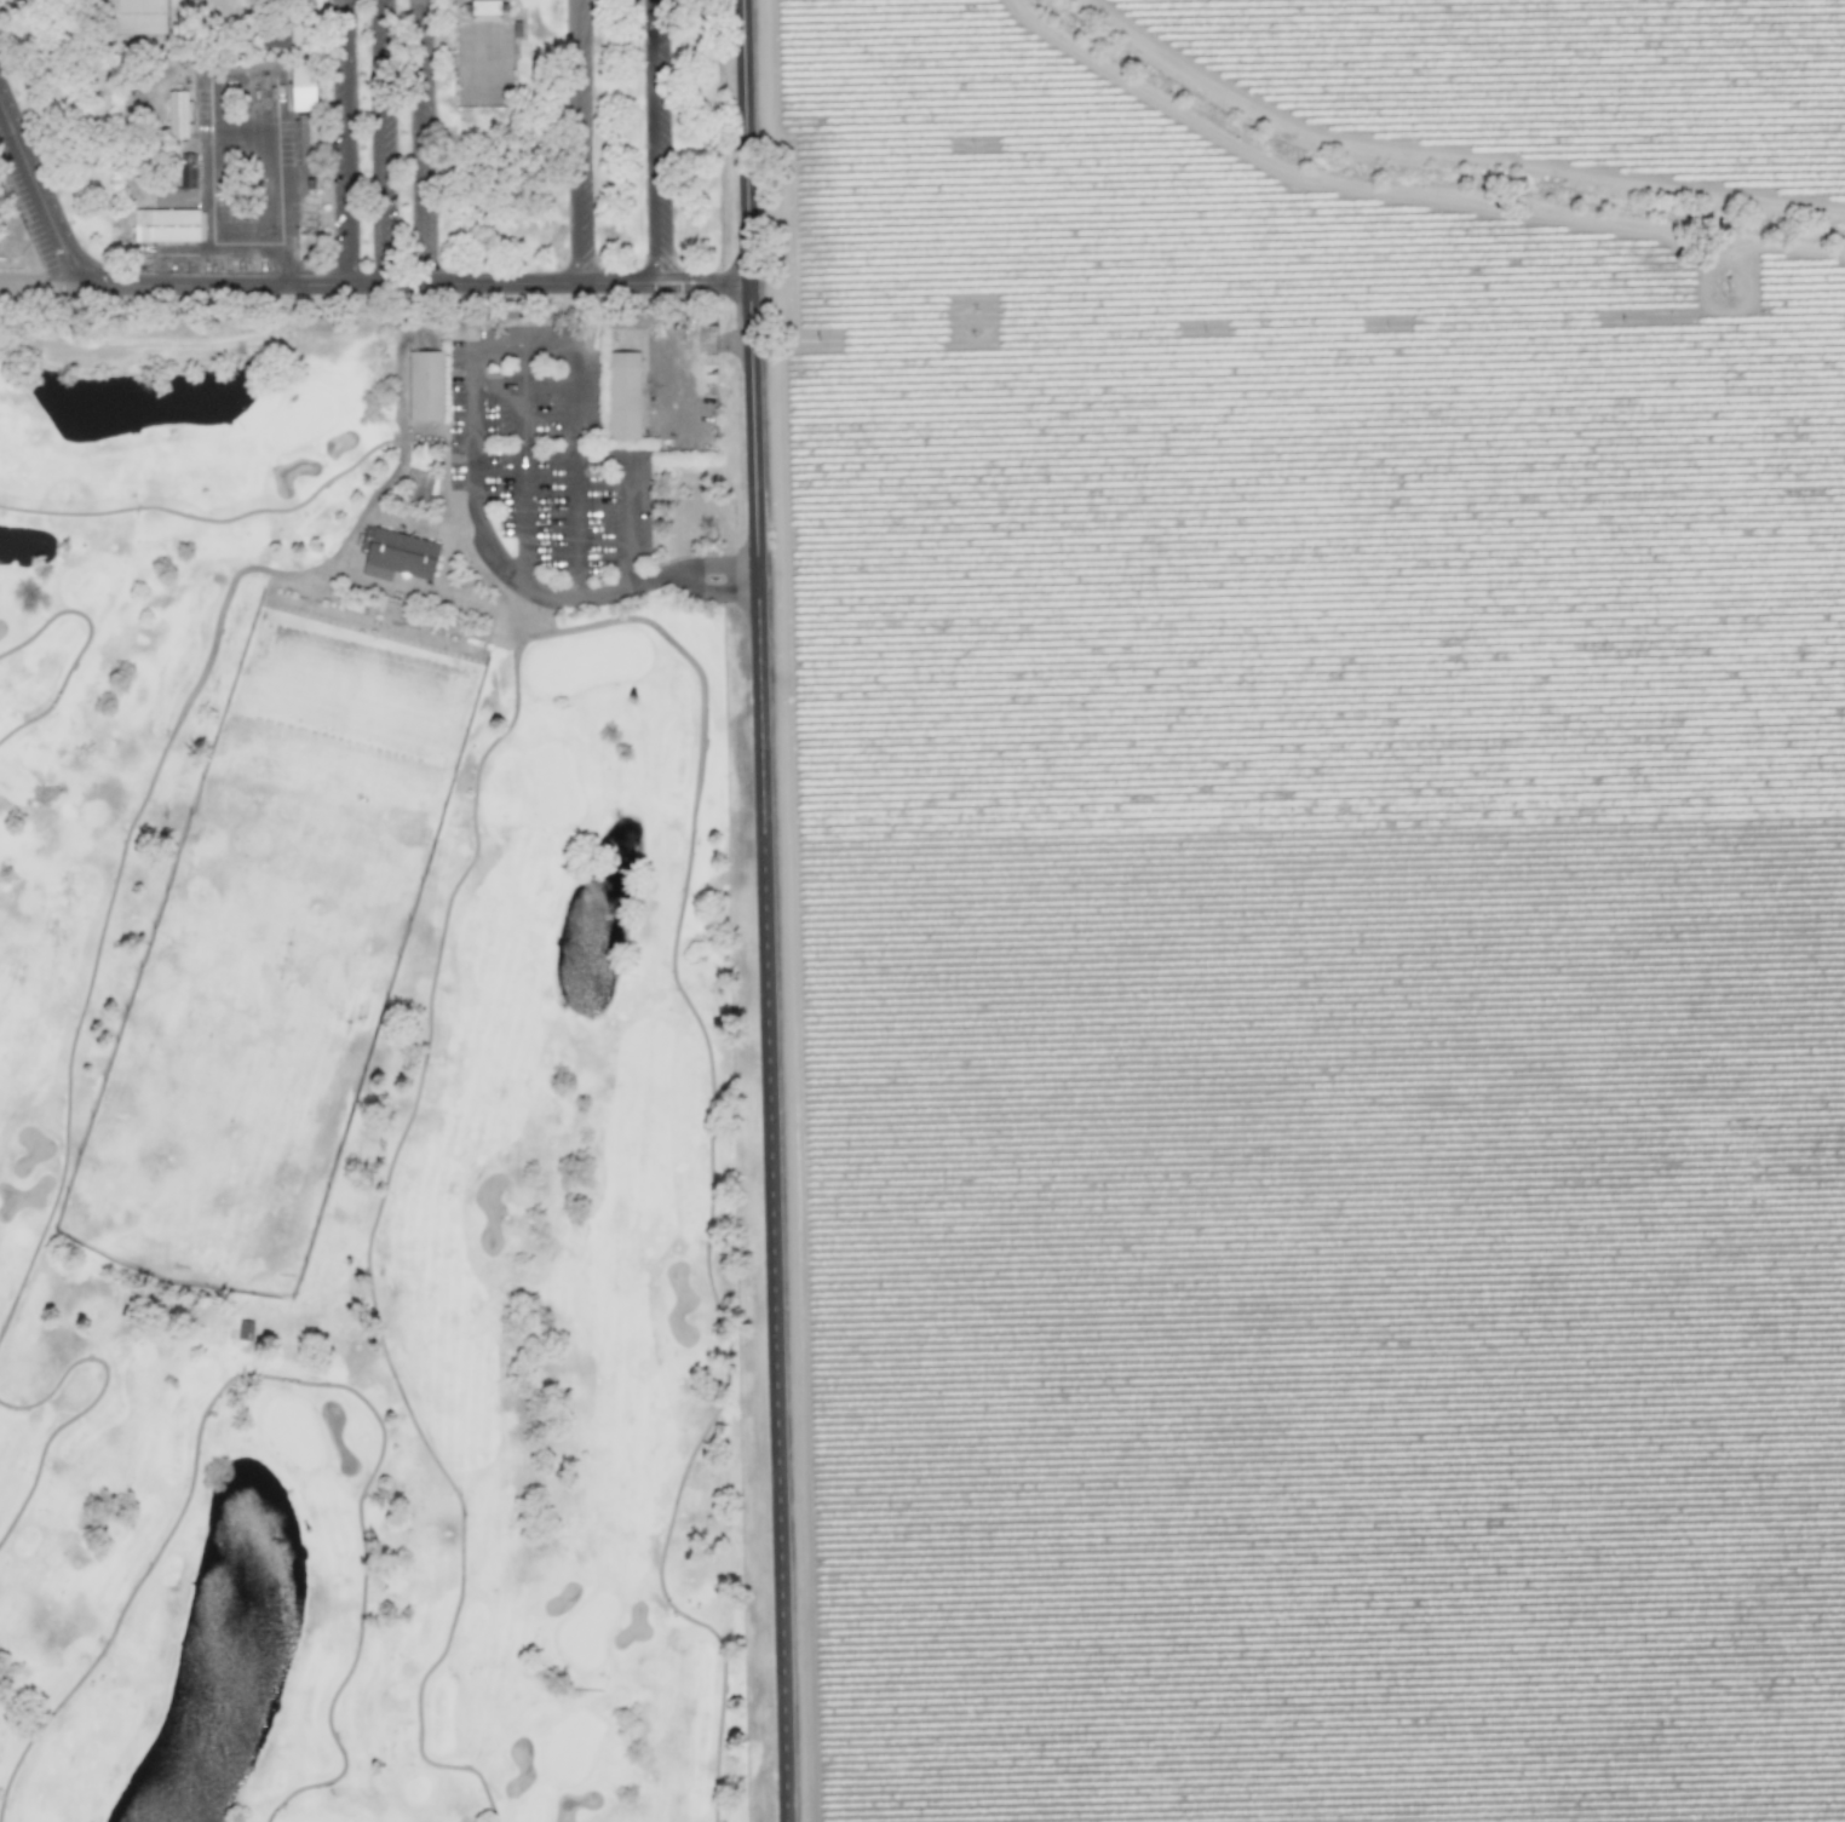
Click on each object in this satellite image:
building: (483, 7)
building: (134, 17)
building: (275, 36)
building: (303, 86)
building: (177, 115)
road: (573, 140)
road: (653, 140)
road: (347, 142)
road: (378, 142)
road: (418, 142)
park: (368, 156)
building: (188, 169)
road: (211, 180)
building: (176, 197)
theme park: (8, 218)
building: (166, 225)
road: (320, 283)
building: (425, 386)
road: (473, 392)
building: (622, 396)
road: (523, 466)
road: (626, 501)
road: (374, 508)
building: (398, 551)
road: (690, 577)
road: (453, 598)
road: (766, 910)
park: (384, 1074)
road: (709, 1168)
road: (367, 1249)

